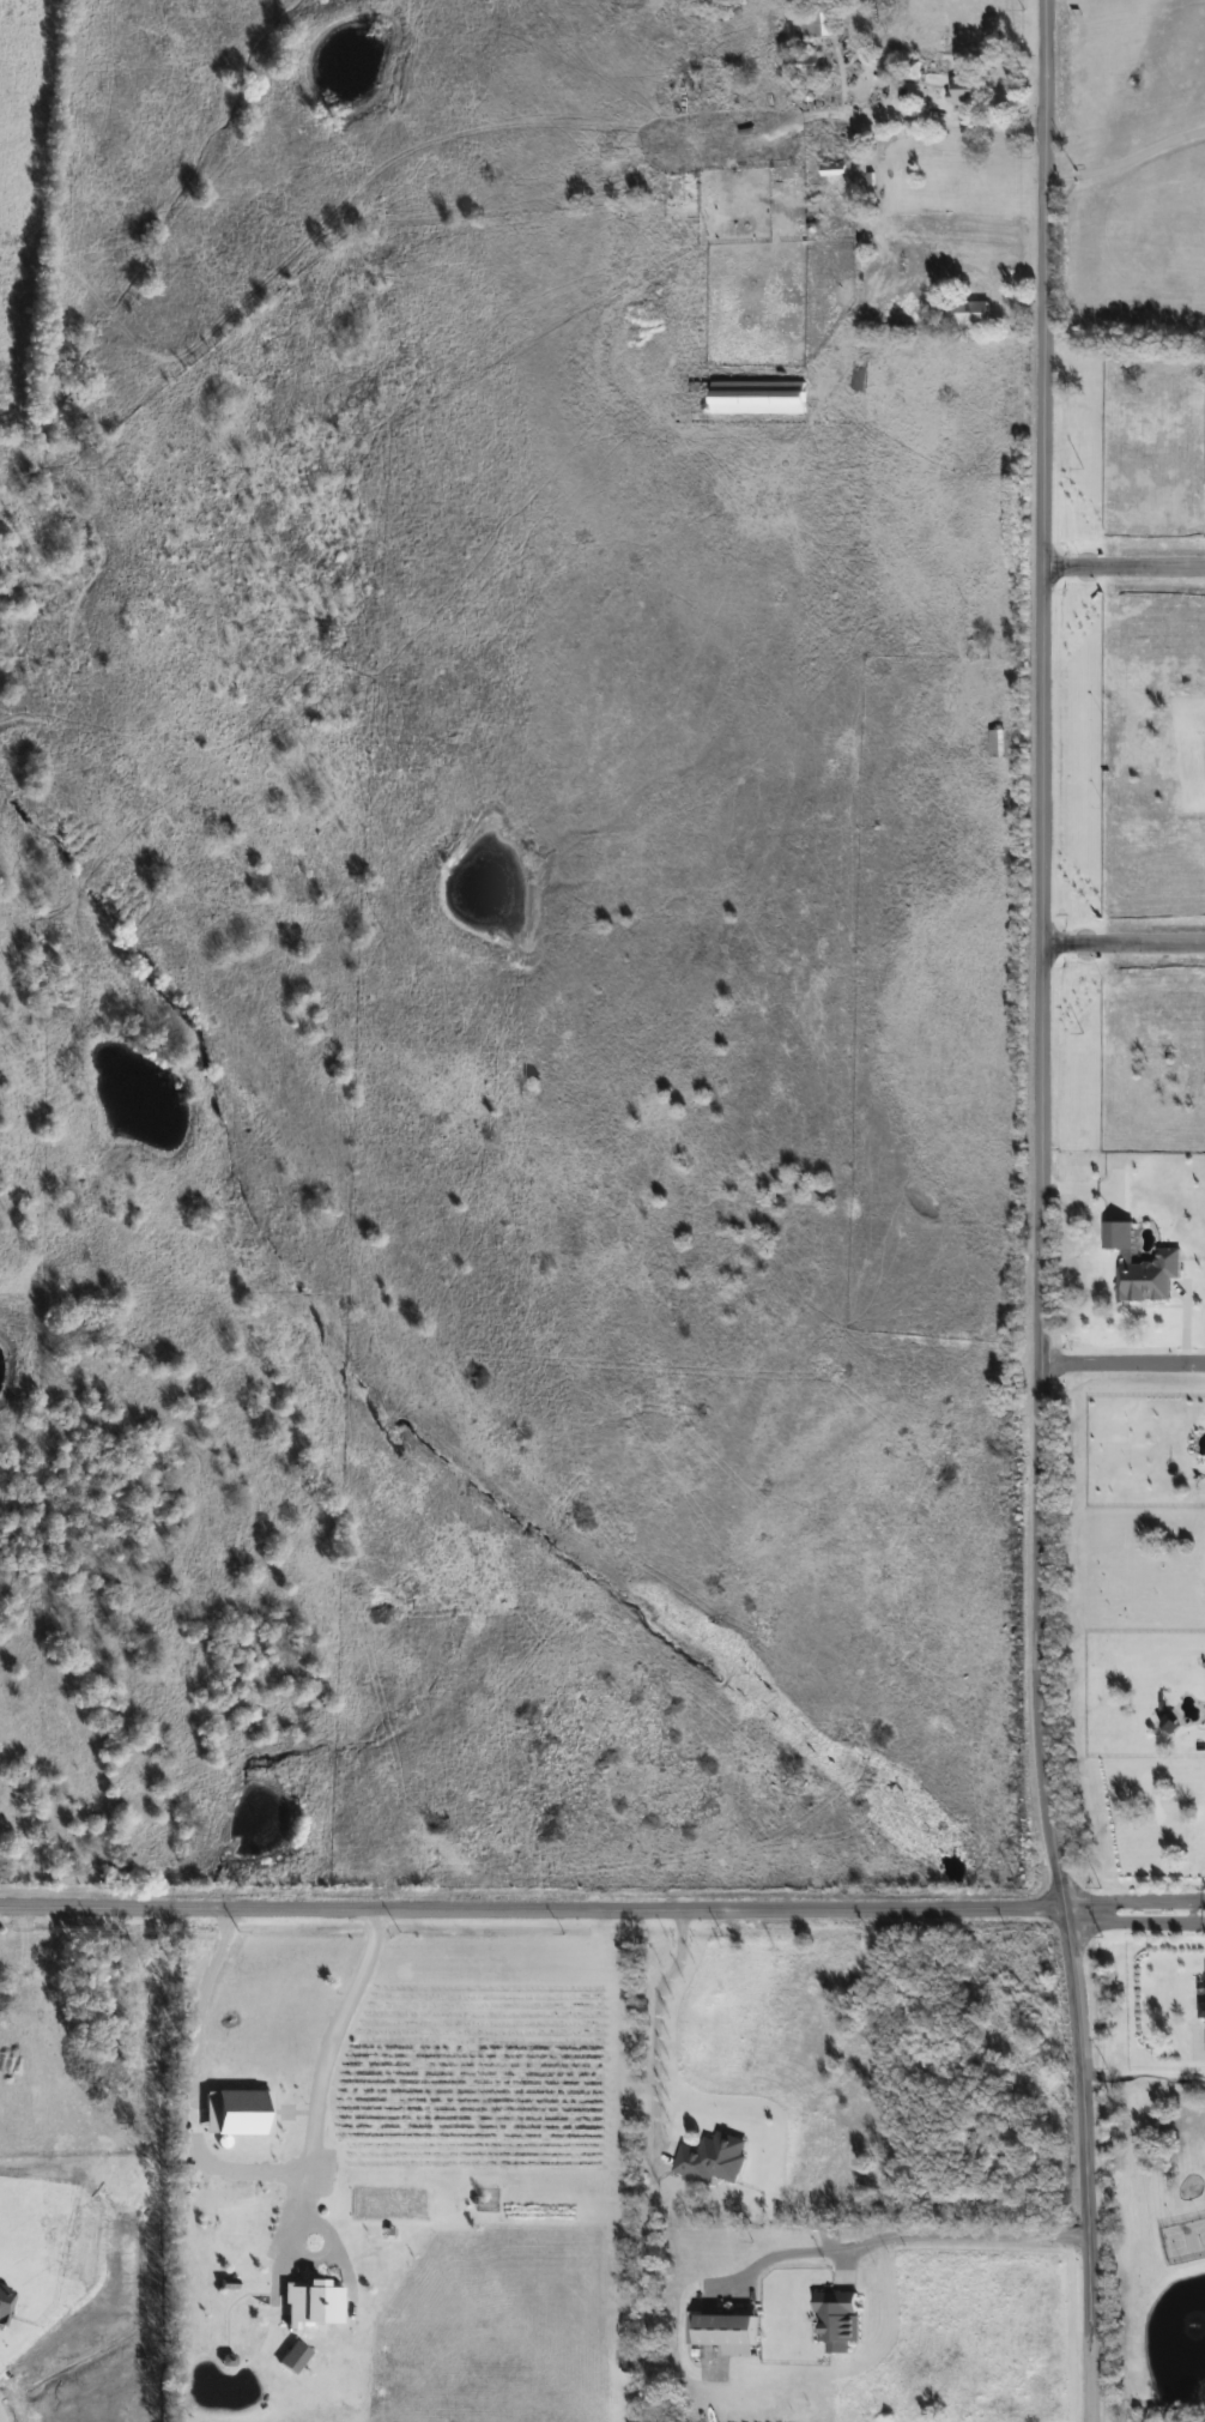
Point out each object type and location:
building: (817, 24)
building: (961, 91)
road: (937, 120)
road: (1122, 161)
building: (970, 313)
building: (755, 398)
road: (1120, 578)
building: (995, 743)
road: (1120, 950)
road: (1040, 1212)
road: (1125, 1366)
road: (1131, 1911)
road: (531, 1916)
road: (13, 1987)
building: (1201, 2009)
road: (655, 2022)
road: (1198, 2053)
road: (317, 2077)
road: (192, 2085)
building: (709, 2158)
road: (903, 2237)
building: (309, 2302)
building: (835, 2318)
building: (725, 2331)
building: (290, 2357)

